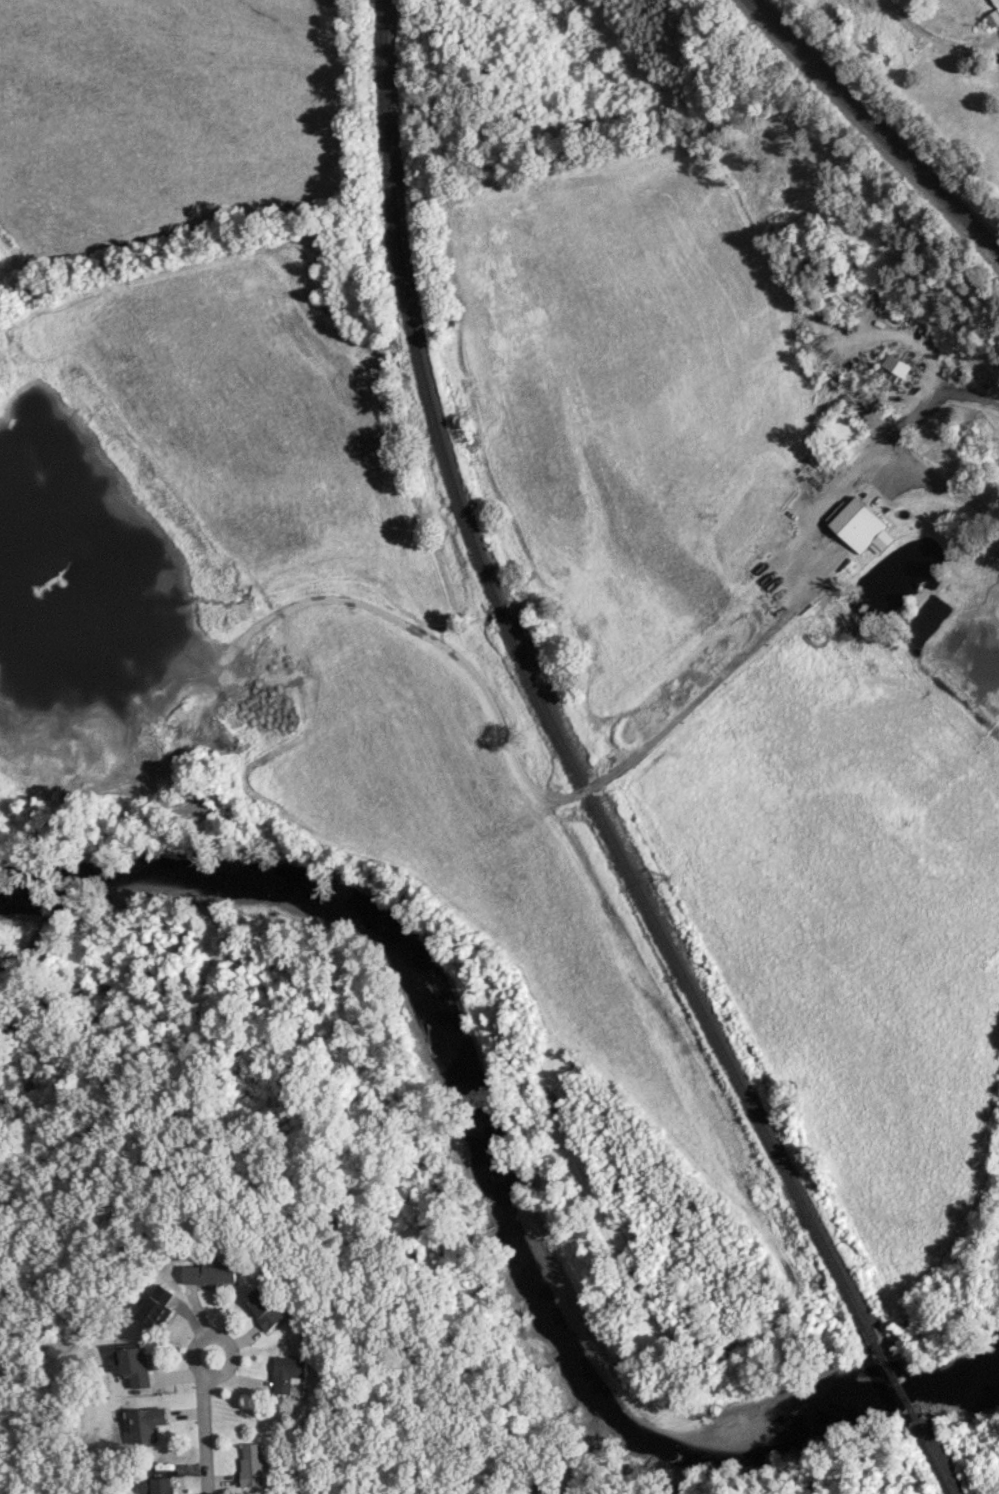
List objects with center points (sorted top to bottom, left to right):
road: (937, 39)
railway: (873, 127)
building: (893, 368)
road: (976, 401)
road: (902, 463)
road: (830, 501)
building: (860, 527)
railway: (540, 696)
building: (210, 1272)
building: (156, 1306)
building: (265, 1308)
road: (220, 1344)
building: (133, 1365)
building: (289, 1373)
railway: (893, 1378)
building: (146, 1423)
road: (203, 1435)
railway: (933, 1456)
building: (252, 1464)
park: (990, 1465)
building: (155, 1485)
building: (539, 1489)

